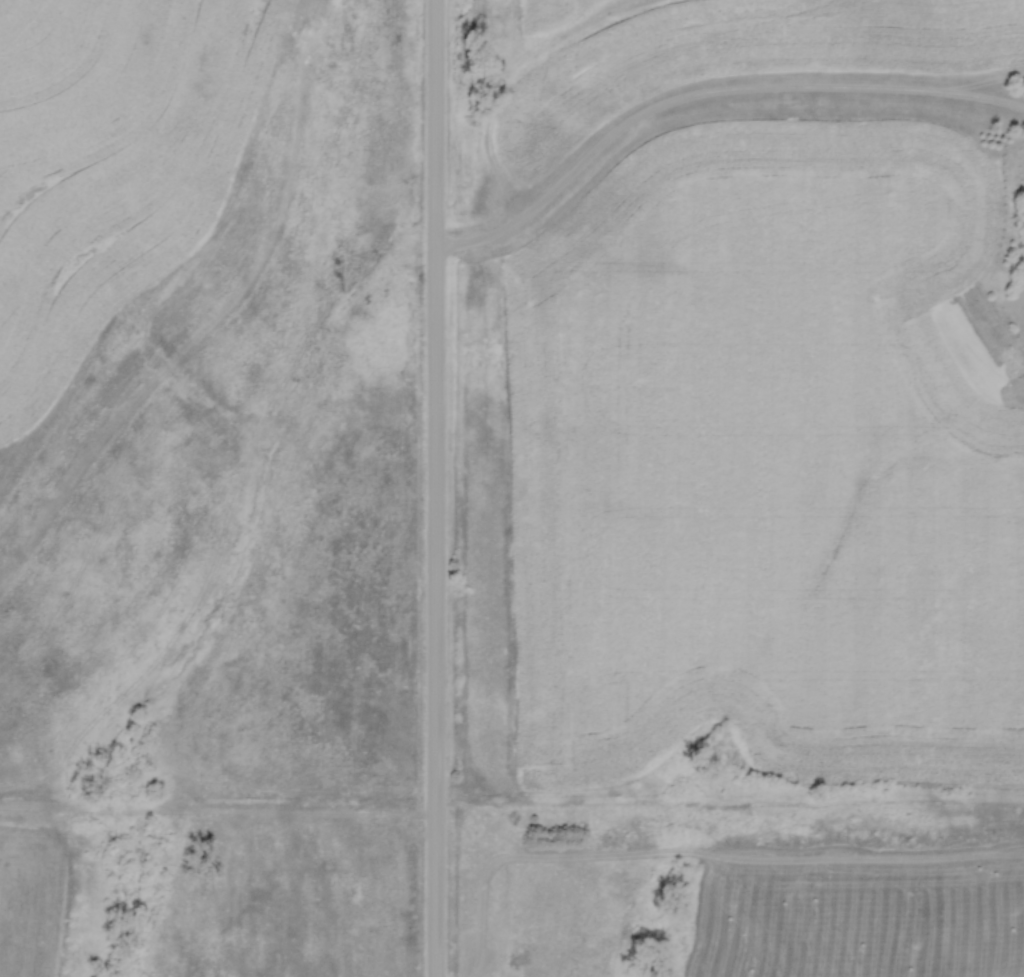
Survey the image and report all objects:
road: (705, 94)
road: (434, 488)

